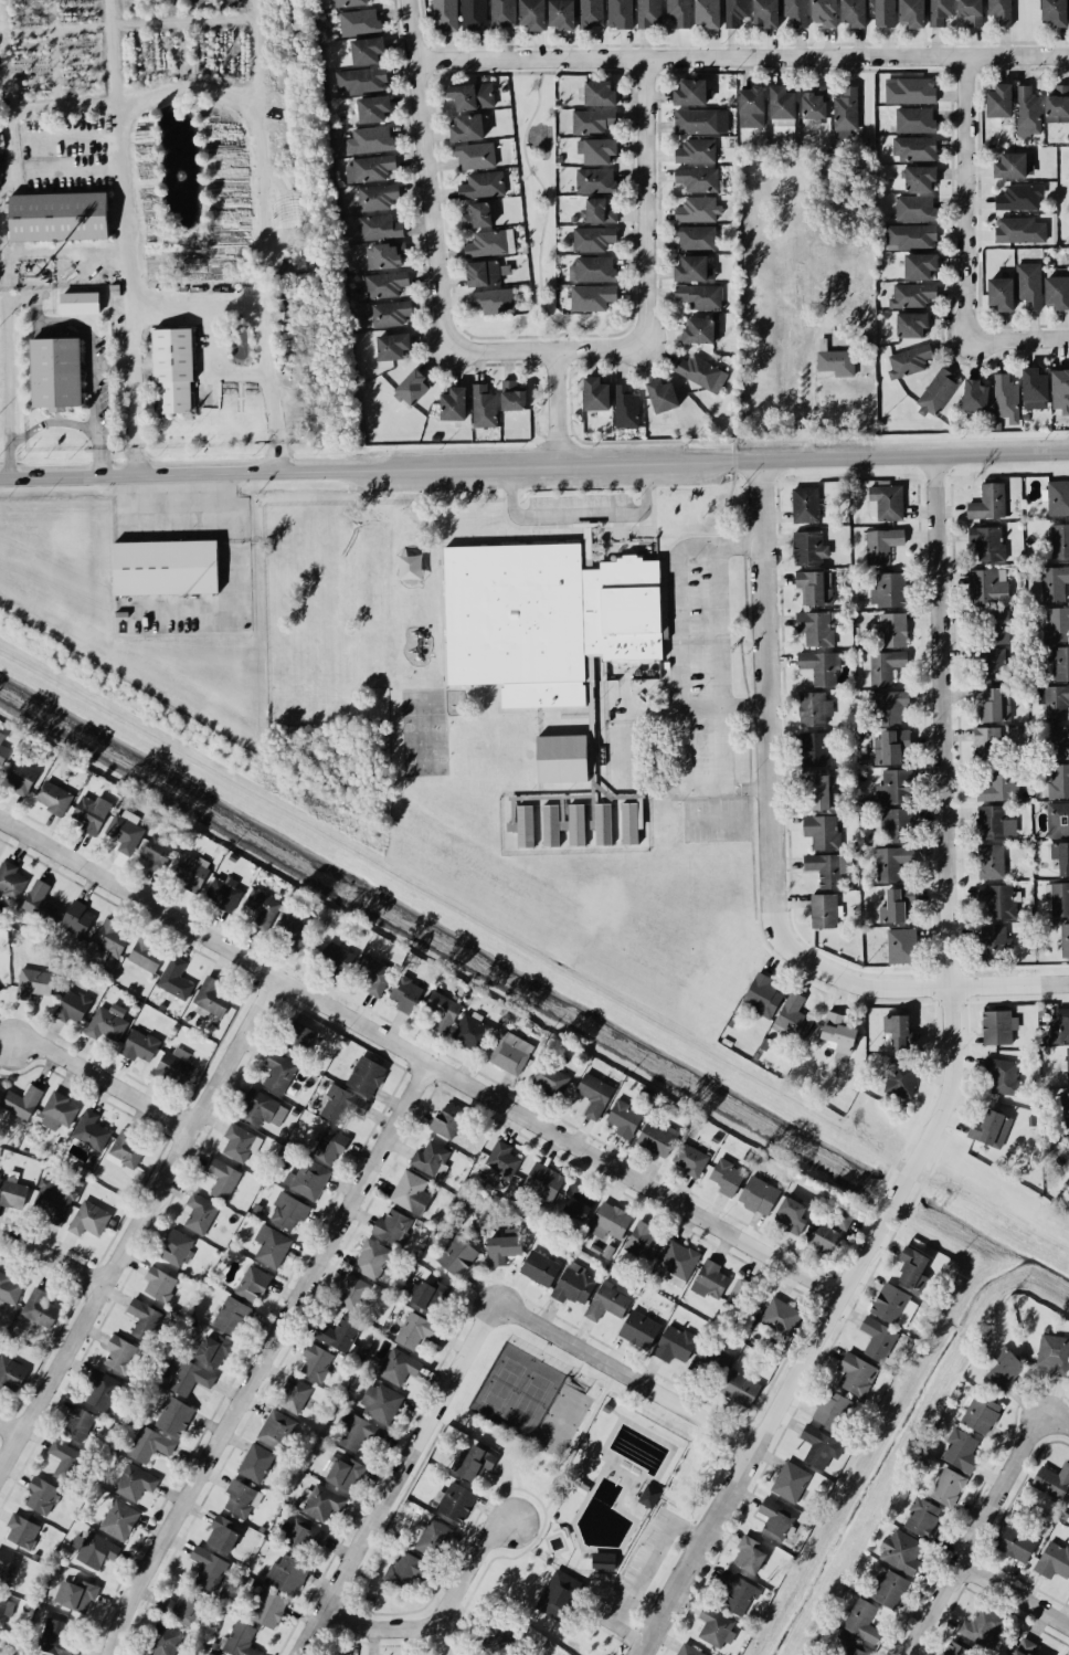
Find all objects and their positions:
building: (350, 2)
building: (796, 11)
building: (939, 11)
building: (971, 11)
building: (1001, 11)
building: (1055, 11)
building: (502, 12)
building: (679, 12)
building: (707, 12)
building: (735, 12)
building: (766, 12)
building: (825, 12)
building: (854, 12)
building: (885, 12)
building: (912, 12)
building: (532, 13)
building: (562, 13)
building: (590, 13)
building: (620, 13)
building: (648, 13)
building: (445, 14)
building: (474, 14)
building: (359, 21)
building: (367, 50)
road: (742, 59)
building: (362, 80)
building: (910, 89)
building: (690, 92)
building: (599, 93)
building: (472, 95)
building: (999, 101)
building: (781, 102)
road: (88, 103)
building: (1057, 104)
building: (814, 105)
building: (751, 106)
building: (373, 107)
building: (1027, 110)
building: (845, 112)
building: (914, 119)
building: (592, 120)
building: (700, 120)
building: (467, 127)
building: (370, 139)
road: (260, 143)
road: (526, 143)
building: (914, 148)
building: (597, 150)
building: (696, 150)
building: (475, 155)
building: (1013, 165)
building: (370, 168)
road: (427, 173)
building: (919, 177)
building: (698, 178)
building: (594, 179)
building: (480, 183)
building: (378, 196)
road: (965, 197)
building: (1019, 197)
road: (643, 202)
road: (547, 204)
building: (914, 207)
road: (1067, 207)
building: (697, 209)
building: (600, 210)
building: (477, 214)
building: (59, 215)
building: (379, 226)
building: (1019, 229)
building: (910, 235)
building: (696, 236)
building: (593, 238)
building: (384, 254)
building: (919, 265)
building: (592, 268)
building: (694, 268)
building: (483, 272)
building: (385, 283)
building: (1028, 284)
building: (1057, 291)
building: (1001, 293)
building: (700, 295)
building: (912, 295)
building: (592, 296)
building: (493, 299)
building: (391, 312)
road: (202, 316)
building: (911, 324)
building: (700, 330)
road: (1017, 337)
building: (392, 346)
road: (544, 347)
road: (87, 356)
building: (909, 360)
building: (836, 361)
building: (172, 370)
building: (55, 372)
building: (700, 372)
road: (6, 375)
building: (413, 387)
building: (1035, 388)
building: (1060, 389)
building: (936, 391)
building: (595, 393)
building: (661, 394)
building: (975, 394)
building: (512, 396)
building: (1006, 398)
building: (453, 403)
building: (484, 405)
road: (554, 405)
building: (625, 405)
road: (50, 420)
road: (97, 458)
road: (534, 465)
building: (1057, 496)
building: (886, 502)
building: (987, 502)
building: (805, 504)
road: (604, 514)
building: (1059, 540)
building: (987, 542)
building: (882, 545)
building: (809, 546)
building: (165, 568)
building: (1054, 582)
building: (987, 584)
building: (815, 586)
road: (678, 587)
building: (889, 589)
building: (546, 619)
building: (1057, 623)
road: (720, 625)
building: (998, 625)
building: (815, 626)
building: (893, 629)
building: (1058, 663)
building: (993, 664)
building: (886, 665)
building: (821, 666)
building: (1054, 700)
building: (992, 703)
road: (727, 706)
building: (888, 706)
building: (814, 708)
road: (653, 709)
road: (769, 718)
building: (1059, 738)
building: (985, 742)
building: (890, 746)
building: (814, 748)
building: (2, 749)
building: (562, 758)
building: (21, 776)
building: (1057, 780)
building: (999, 786)
building: (895, 787)
road: (690, 788)
building: (821, 791)
building: (53, 797)
building: (92, 812)
road: (715, 818)
building: (1058, 818)
building: (631, 821)
building: (602, 822)
building: (993, 822)
building: (522, 824)
building: (563, 824)
building: (896, 824)
building: (125, 830)
building: (822, 831)
building: (158, 850)
building: (1060, 855)
building: (892, 861)
building: (991, 861)
building: (828, 867)
building: (191, 871)
building: (11, 878)
building: (223, 892)
building: (1058, 897)
building: (998, 899)
building: (39, 900)
building: (896, 904)
building: (263, 907)
building: (823, 910)
building: (76, 918)
building: (292, 928)
building: (110, 937)
building: (1065, 939)
building: (995, 942)
building: (901, 945)
building: (146, 953)
building: (336, 956)
building: (373, 973)
building: (174, 978)
building: (33, 982)
road: (938, 985)
building: (405, 993)
building: (762, 994)
building: (211, 998)
building: (72, 1005)
building: (443, 1010)
building: (793, 1016)
building: (107, 1022)
building: (997, 1025)
building: (1060, 1025)
building: (472, 1031)
building: (900, 1031)
building: (837, 1032)
building: (298, 1033)
building: (139, 1045)
building: (510, 1052)
road: (416, 1060)
building: (1066, 1062)
building: (174, 1064)
building: (278, 1072)
building: (366, 1075)
building: (1002, 1075)
building: (901, 1077)
building: (550, 1078)
road: (104, 1082)
building: (594, 1094)
road: (948, 1094)
building: (21, 1100)
building: (341, 1104)
building: (1065, 1107)
building: (262, 1108)
building: (57, 1110)
building: (447, 1119)
building: (991, 1128)
building: (91, 1130)
building: (657, 1137)
building: (237, 1141)
building: (330, 1145)
building: (126, 1150)
building: (430, 1157)
building: (690, 1159)
building: (501, 1160)
building: (727, 1177)
building: (222, 1178)
building: (307, 1178)
building: (543, 1180)
building: (411, 1192)
building: (12, 1193)
building: (758, 1194)
building: (53, 1199)
building: (578, 1201)
building: (288, 1210)
building: (200, 1212)
building: (791, 1214)
building: (88, 1217)
building: (608, 1221)
building: (391, 1225)
road: (138, 1227)
building: (829, 1231)
building: (644, 1240)
building: (271, 1245)
building: (504, 1245)
building: (177, 1247)
road: (55, 1255)
building: (456, 1255)
building: (371, 1258)
building: (677, 1262)
building: (912, 1264)
building: (539, 1267)
building: (709, 1279)
building: (159, 1283)
building: (252, 1283)
building: (574, 1284)
building: (9, 1288)
building: (351, 1292)
building: (426, 1292)
building: (735, 1293)
building: (606, 1301)
building: (895, 1305)
building: (40, 1307)
building: (231, 1315)
building: (781, 1315)
building: (144, 1318)
building: (639, 1328)
building: (416, 1329)
building: (338, 1332)
building: (878, 1338)
building: (675, 1343)
building: (213, 1350)
building: (119, 1353)
building: (1054, 1353)
building: (711, 1358)
road: (267, 1359)
building: (316, 1361)
building: (399, 1366)
road: (624, 1371)
building: (1006, 1371)
building: (11, 1372)
building: (856, 1373)
building: (189, 1378)
building: (102, 1388)
building: (740, 1388)
building: (295, 1394)
building: (380, 1401)
building: (830, 1408)
building: (981, 1413)
road: (1058, 1415)
building: (174, 1416)
building: (77, 1423)
building: (275, 1429)
road: (11, 1430)
building: (359, 1432)
building: (150, 1444)
building: (821, 1446)
building: (961, 1448)
building: (65, 1459)
building: (255, 1462)
building: (473, 1462)
road: (1, 1468)
building: (342, 1472)
road: (396, 1476)
building: (791, 1480)
building: (1052, 1480)
building: (135, 1482)
building: (948, 1486)
building: (41, 1495)
building: (649, 1495)
building: (241, 1497)
building: (455, 1500)
building: (322, 1501)
building: (922, 1517)
building: (119, 1519)
building: (775, 1519)
building: (22, 1530)
road: (978, 1532)
building: (222, 1533)
building: (300, 1535)
building: (434, 1537)
building: (1016, 1543)
building: (94, 1549)
building: (901, 1550)
building: (749, 1553)
building: (1054, 1559)
building: (603, 1560)
building: (7, 1567)
building: (208, 1568)
building: (406, 1569)
building: (287, 1573)
road: (643, 1575)
road: (1016, 1588)
building: (890, 1589)
building: (1068, 1590)
building: (738, 1592)
building: (75, 1593)
building: (558, 1593)
building: (183, 1606)
building: (268, 1607)
building: (4, 1610)
road: (440, 1613)
building: (860, 1620)
building: (716, 1626)
building: (982, 1626)
building: (498, 1635)
building: (56, 1637)
building: (241, 1638)
building: (162, 1640)
building: (1024, 1646)
building: (853, 1648)
building: (688, 1649)
building: (956, 1649)

